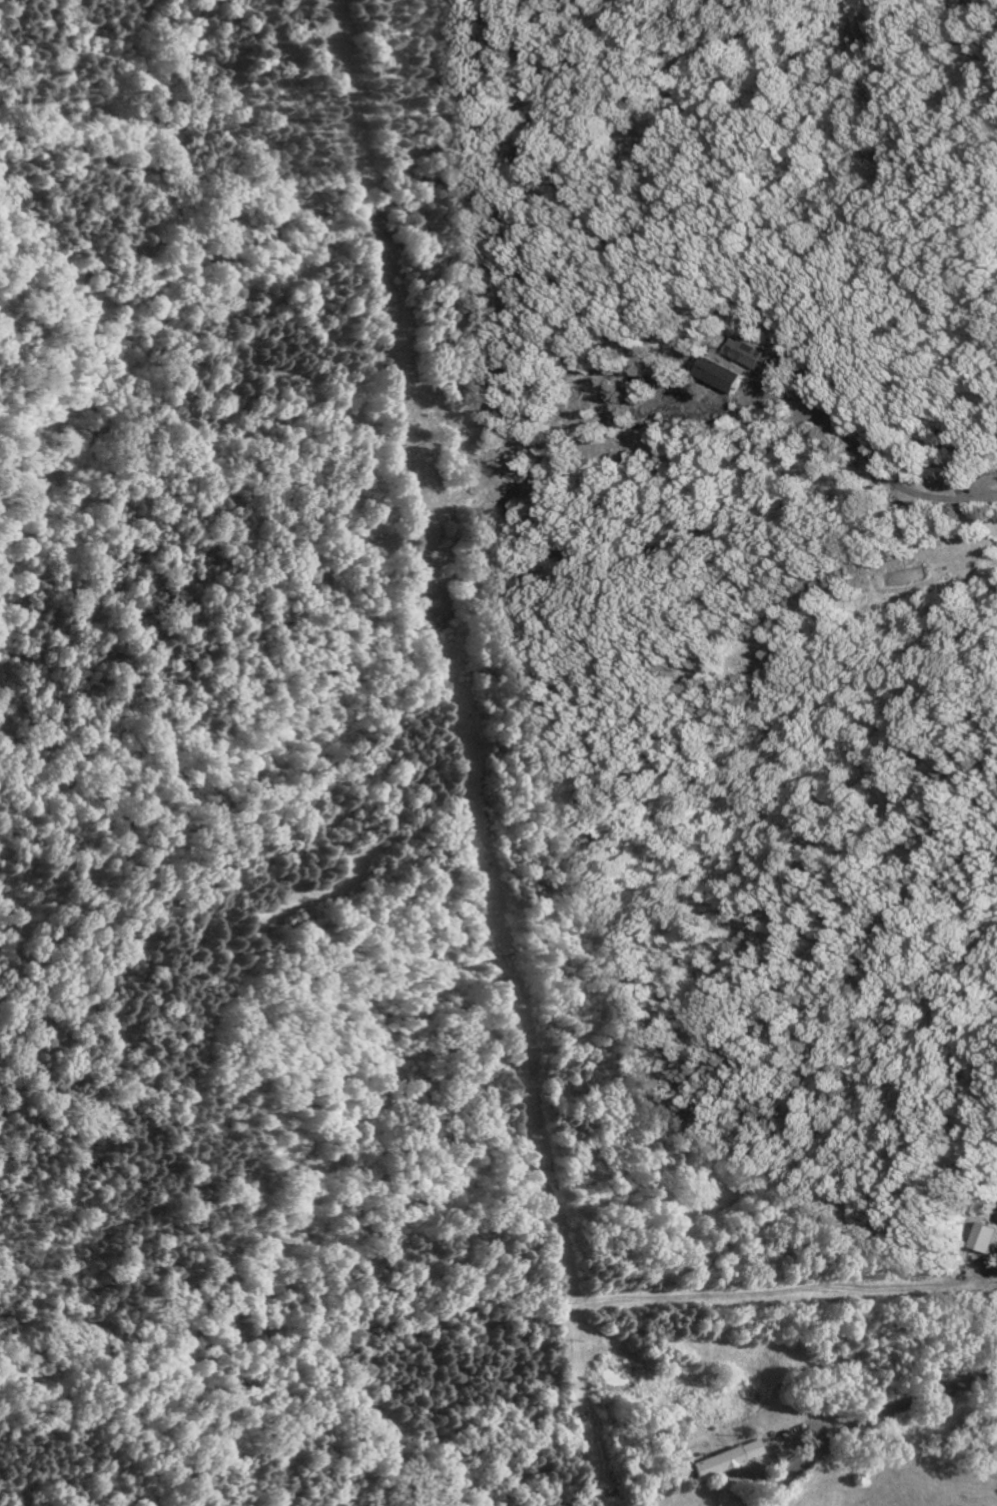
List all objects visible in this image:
building: (753, 353)
building: (729, 375)
road: (875, 464)
building: (989, 1238)
road: (867, 1419)
building: (728, 1459)

